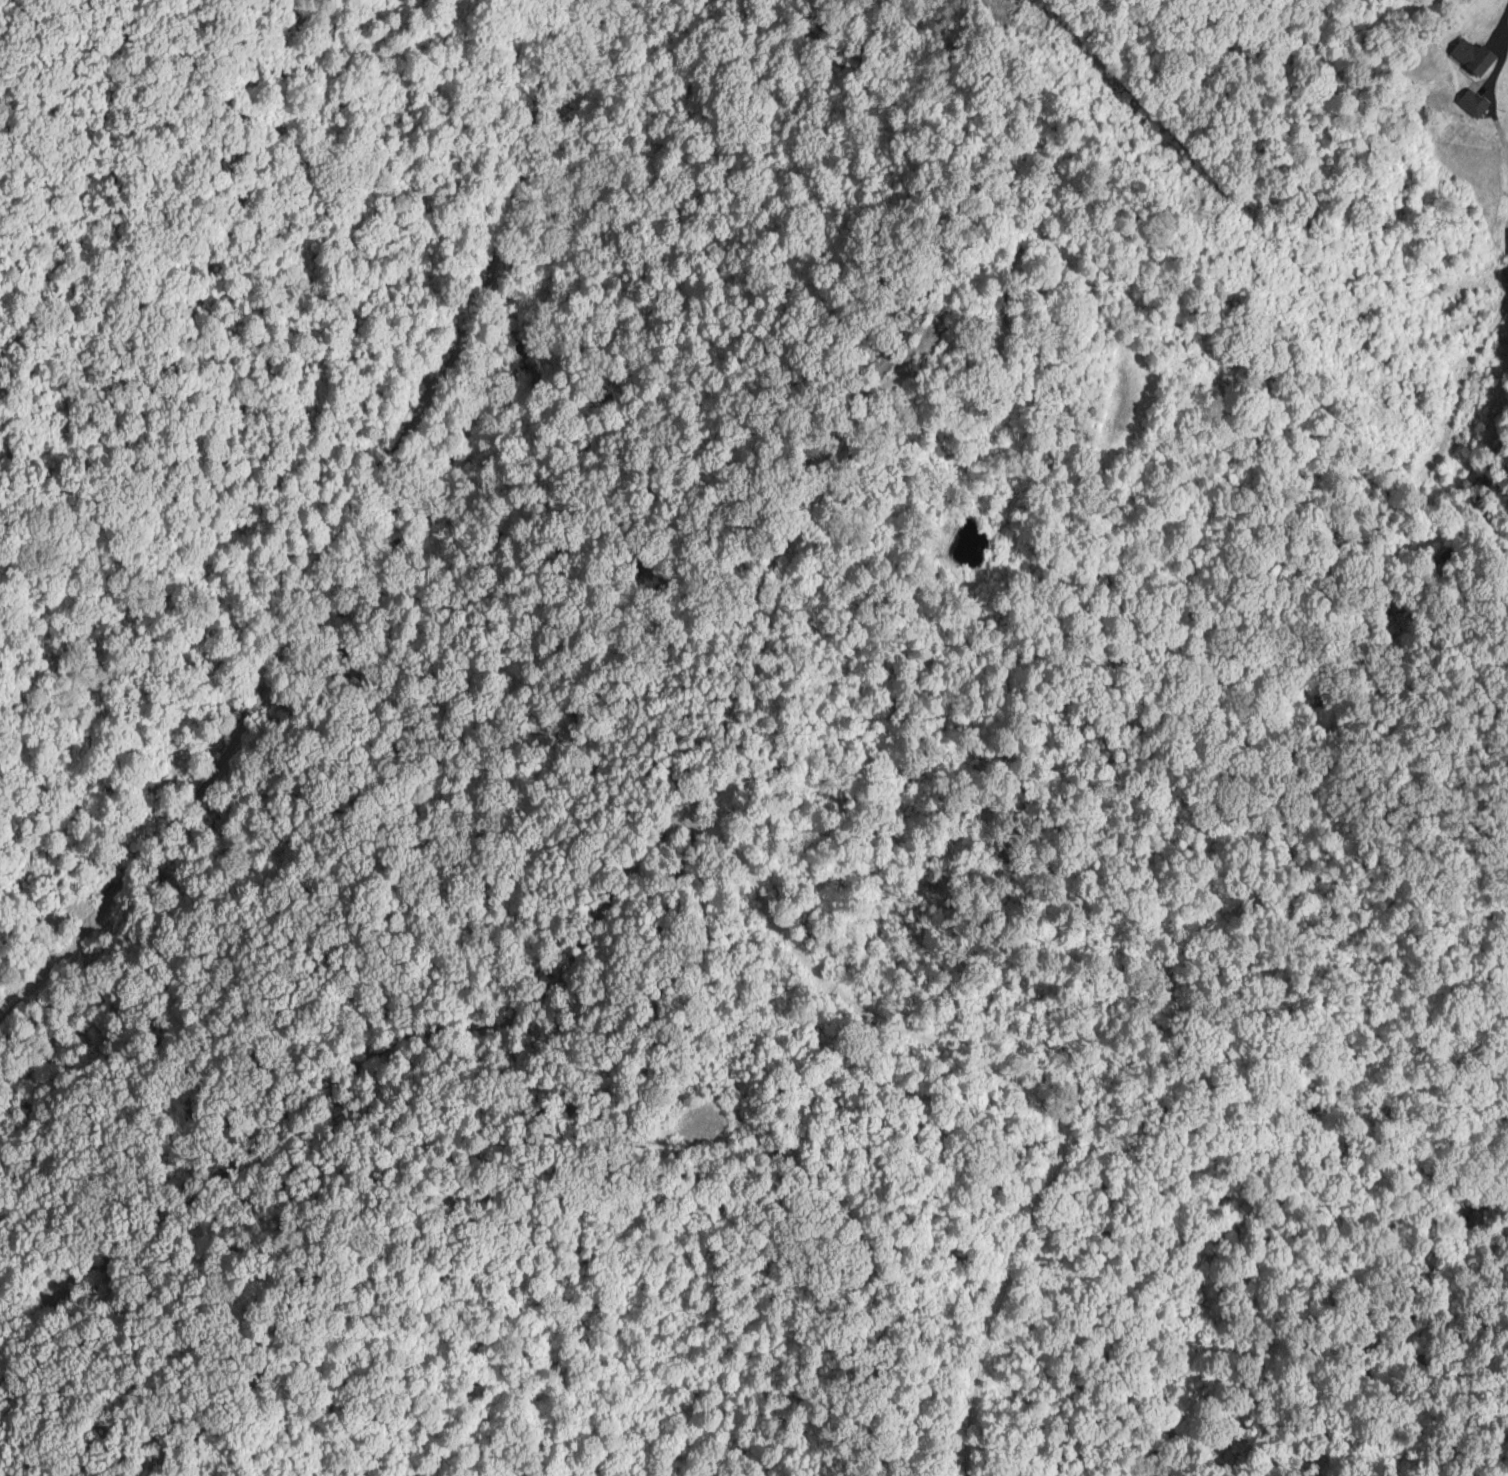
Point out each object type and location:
building: (1469, 55)
road: (1493, 62)
building: (1472, 103)
building: (1507, 247)

